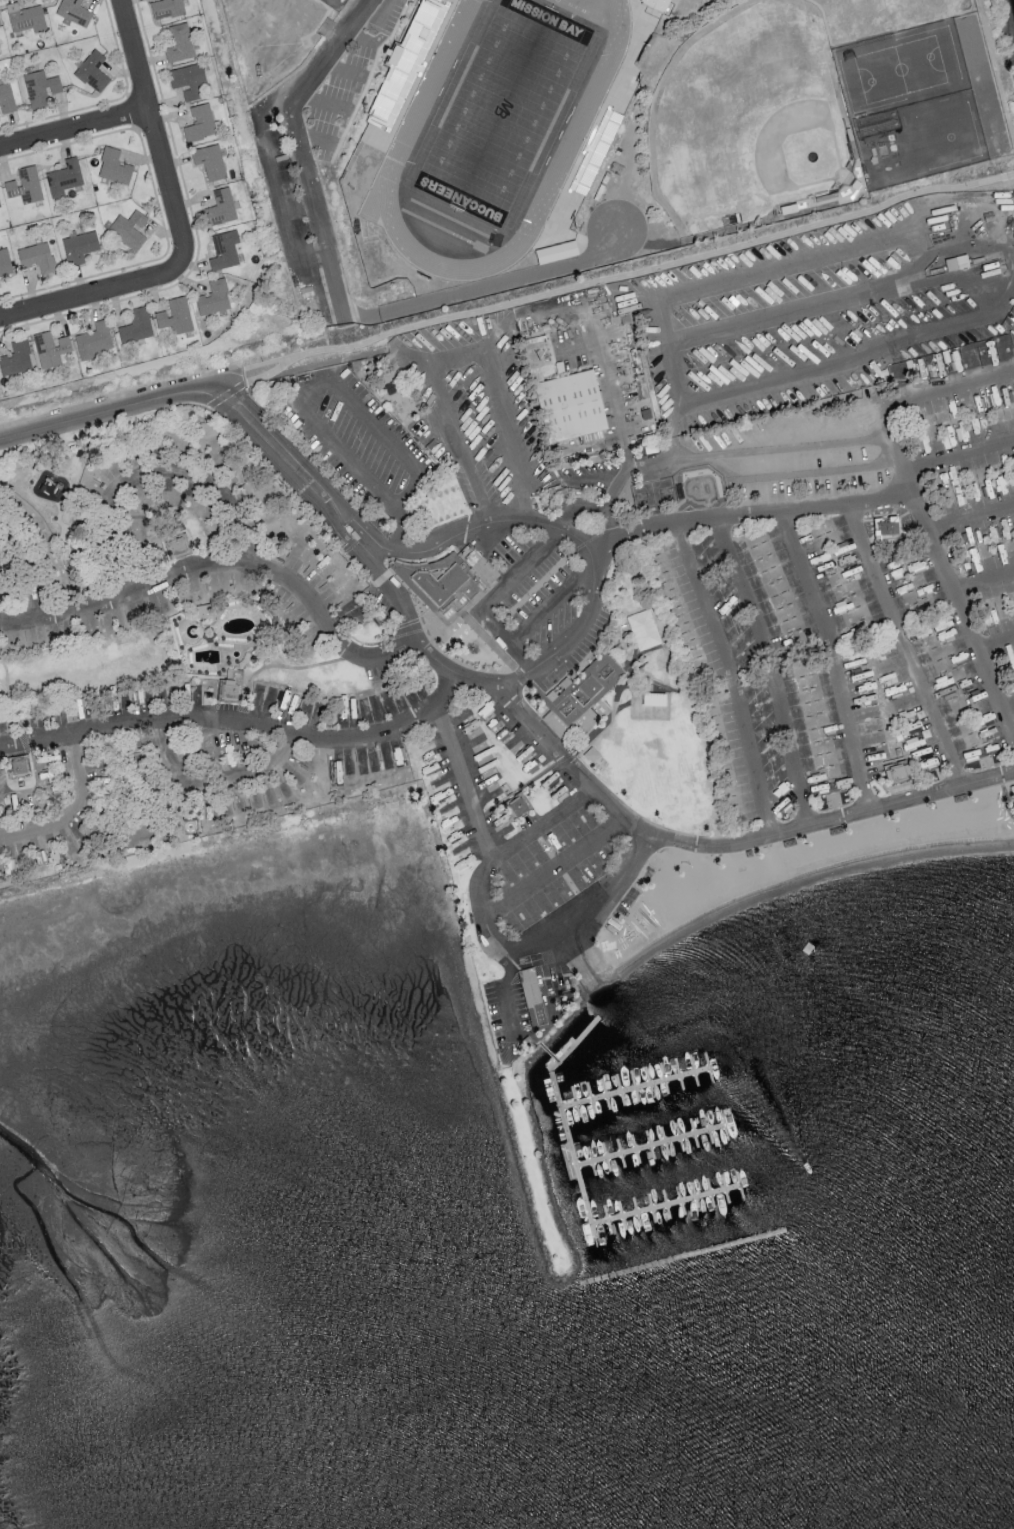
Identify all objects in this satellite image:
building: (334, 2)
building: (659, 4)
building: (165, 8)
road: (675, 9)
building: (73, 12)
parking lot: (390, 14)
park: (886, 15)
building: (25, 17)
road: (829, 21)
road: (362, 37)
building: (179, 42)
building: (404, 57)
park: (900, 66)
road: (343, 68)
building: (92, 70)
building: (187, 79)
park: (982, 85)
building: (40, 87)
parking lot: (344, 96)
building: (6, 98)
road: (326, 102)
park: (507, 110)
park: (748, 116)
building: (200, 122)
track: (424, 122)
road: (74, 130)
track: (499, 131)
road: (155, 135)
road: (315, 138)
park: (918, 138)
building: (209, 160)
building: (113, 165)
road: (1007, 175)
building: (64, 177)
building: (24, 184)
building: (221, 206)
road: (295, 215)
building: (128, 229)
building: (79, 246)
building: (224, 249)
building: (556, 251)
road: (919, 253)
building: (36, 256)
building: (4, 261)
building: (956, 262)
road: (649, 269)
road: (335, 280)
road: (89, 296)
building: (213, 297)
road: (788, 310)
building: (175, 315)
building: (136, 325)
building: (93, 339)
building: (50, 348)
road: (458, 355)
building: (16, 358)
road: (250, 366)
road: (256, 378)
road: (228, 394)
road: (923, 401)
road: (886, 402)
building: (570, 406)
road: (105, 410)
road: (309, 413)
road: (800, 445)
road: (977, 448)
road: (134, 457)
road: (291, 465)
road: (594, 477)
park: (701, 486)
road: (615, 487)
park: (653, 493)
road: (780, 510)
building: (397, 514)
road: (971, 516)
building: (886, 526)
road: (478, 530)
building: (177, 545)
road: (31, 563)
road: (225, 566)
road: (981, 575)
building: (447, 580)
road: (490, 598)
road: (548, 600)
road: (402, 618)
building: (643, 629)
road: (994, 640)
road: (902, 646)
road: (830, 656)
road: (771, 666)
road: (730, 672)
building: (227, 689)
building: (581, 693)
road: (1006, 701)
road: (236, 721)
building: (17, 765)
road: (569, 765)
building: (897, 773)
road: (215, 777)
road: (463, 778)
building: (517, 804)
road: (75, 811)
road: (833, 814)
building: (177, 815)
building: (498, 823)
road: (554, 868)
road: (500, 939)
building: (532, 995)
road: (506, 999)
pier: (549, 1055)
pier: (637, 1091)
pier: (570, 1140)
pier: (651, 1149)
pier: (668, 1208)
pier: (686, 1257)

